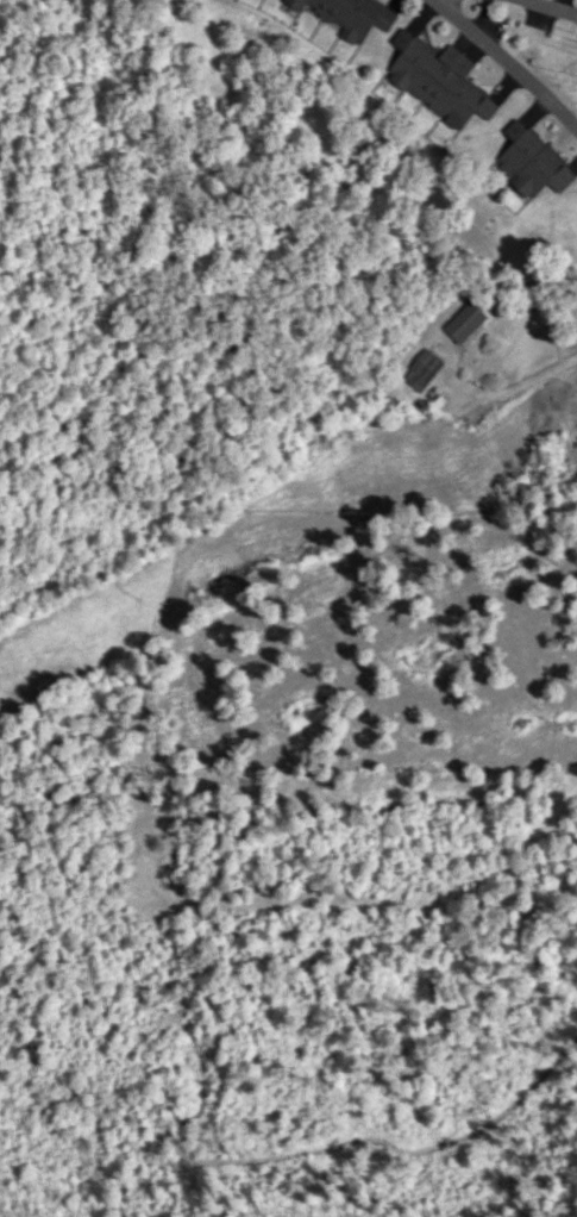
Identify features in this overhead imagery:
road: (550, 10)
building: (346, 15)
road: (506, 62)
building: (437, 81)
building: (531, 163)
building: (463, 324)
building: (424, 367)
road: (521, 391)

